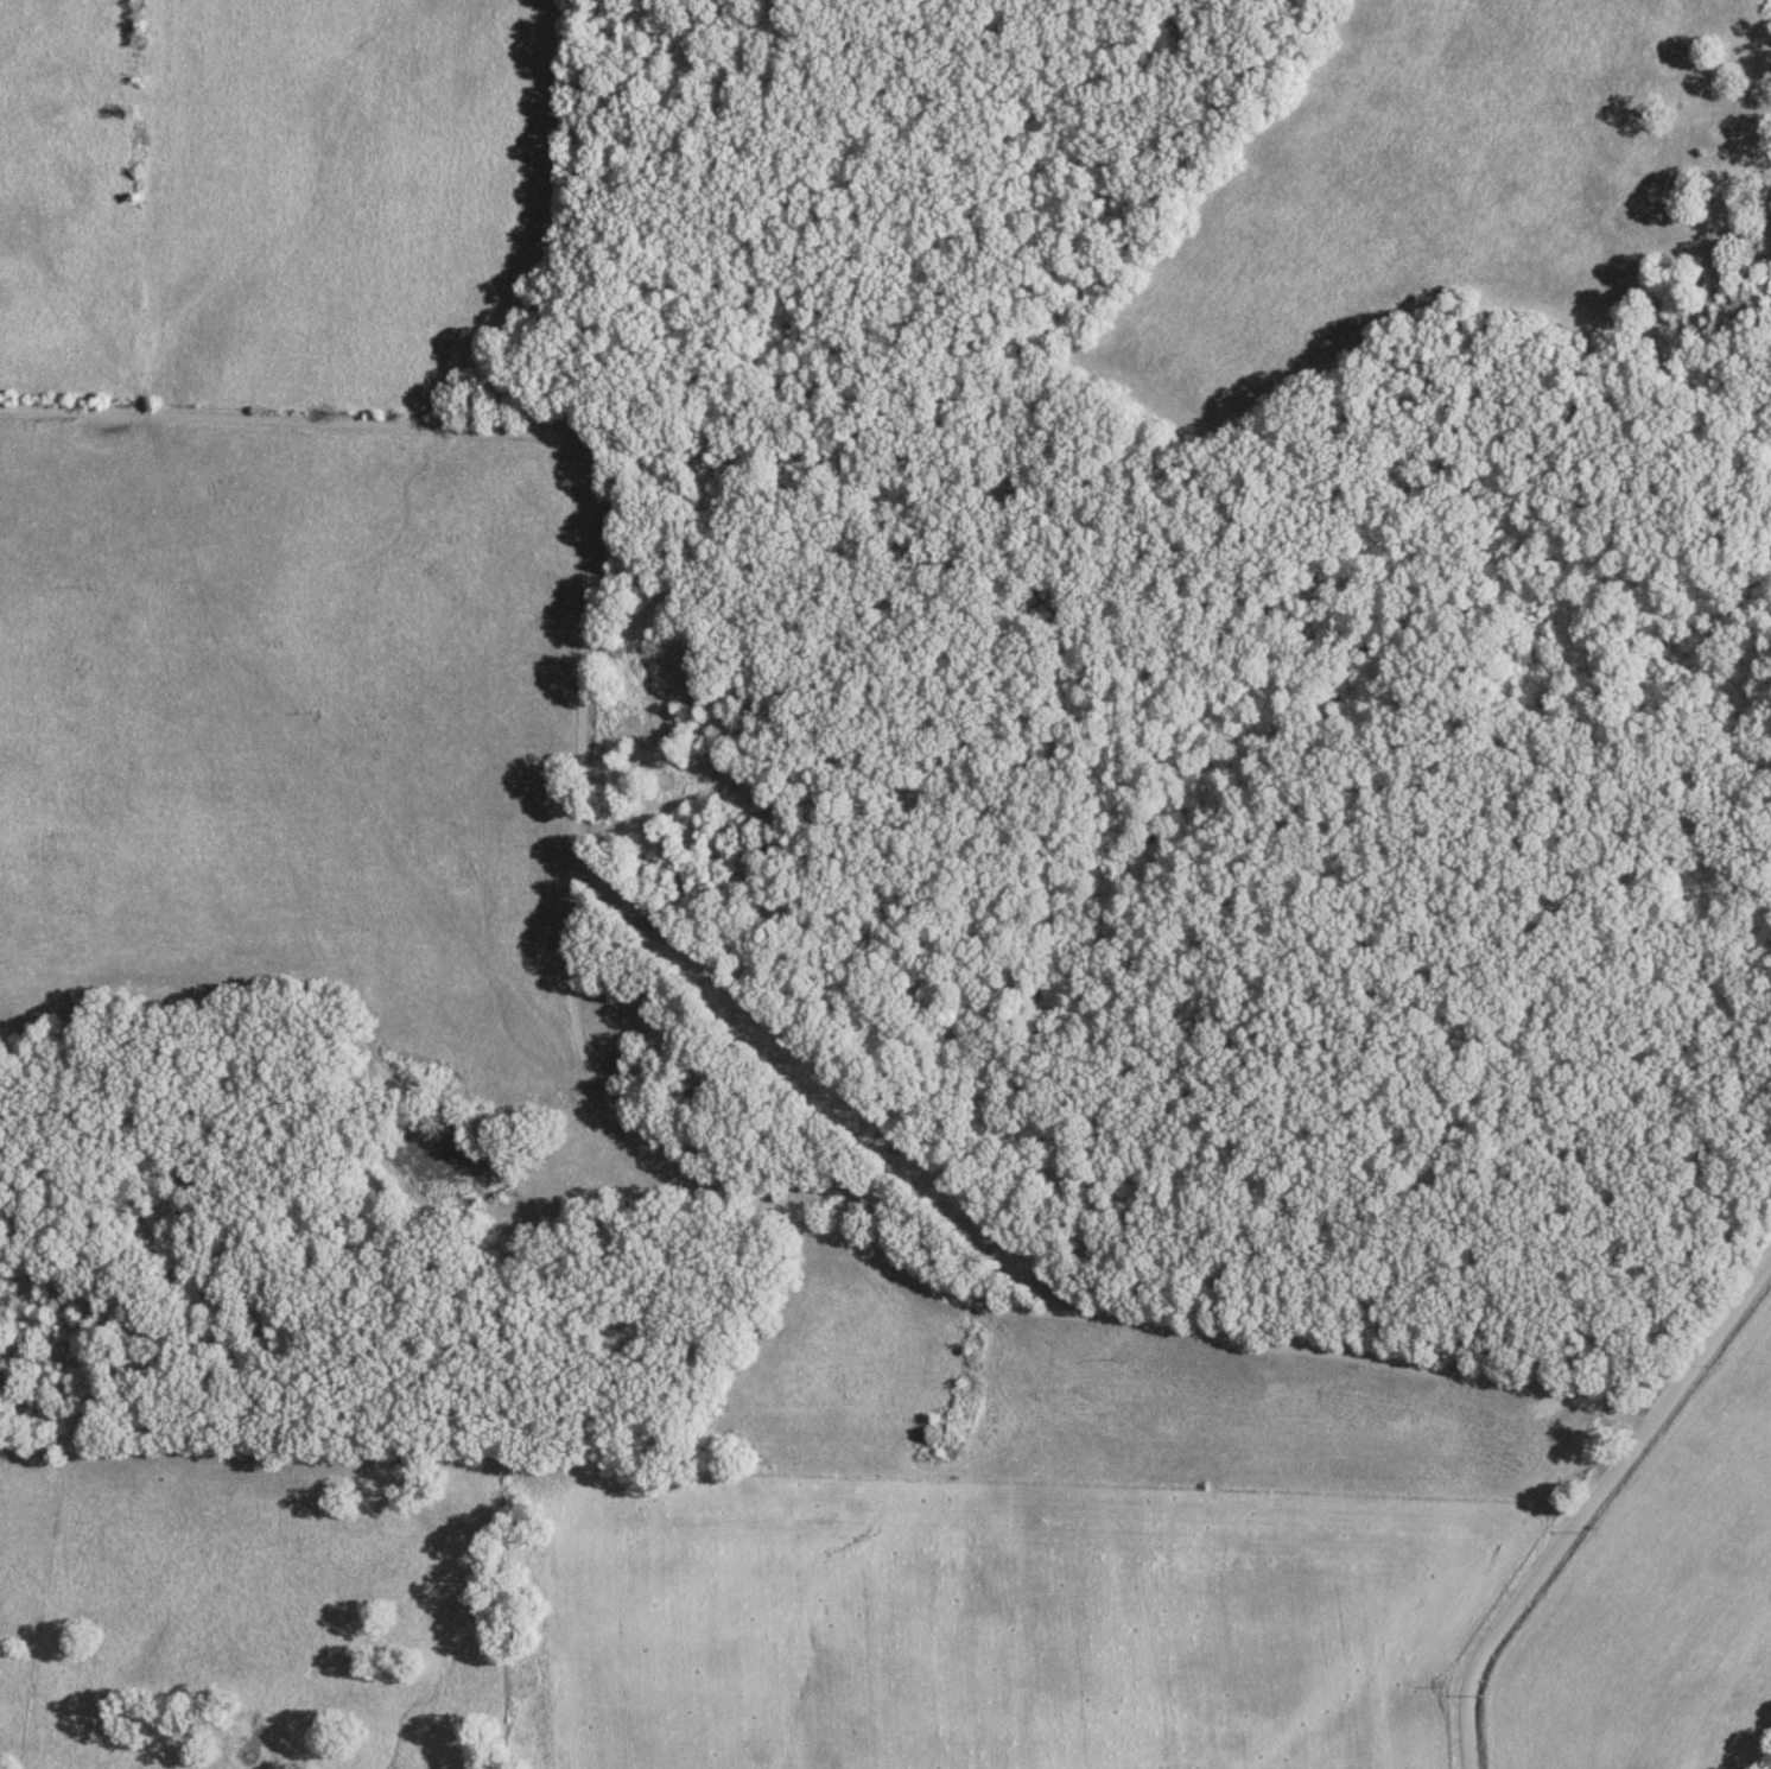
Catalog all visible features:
road: (573, 1035)
building: (859, 1198)
road: (668, 1310)
road: (1586, 1498)

